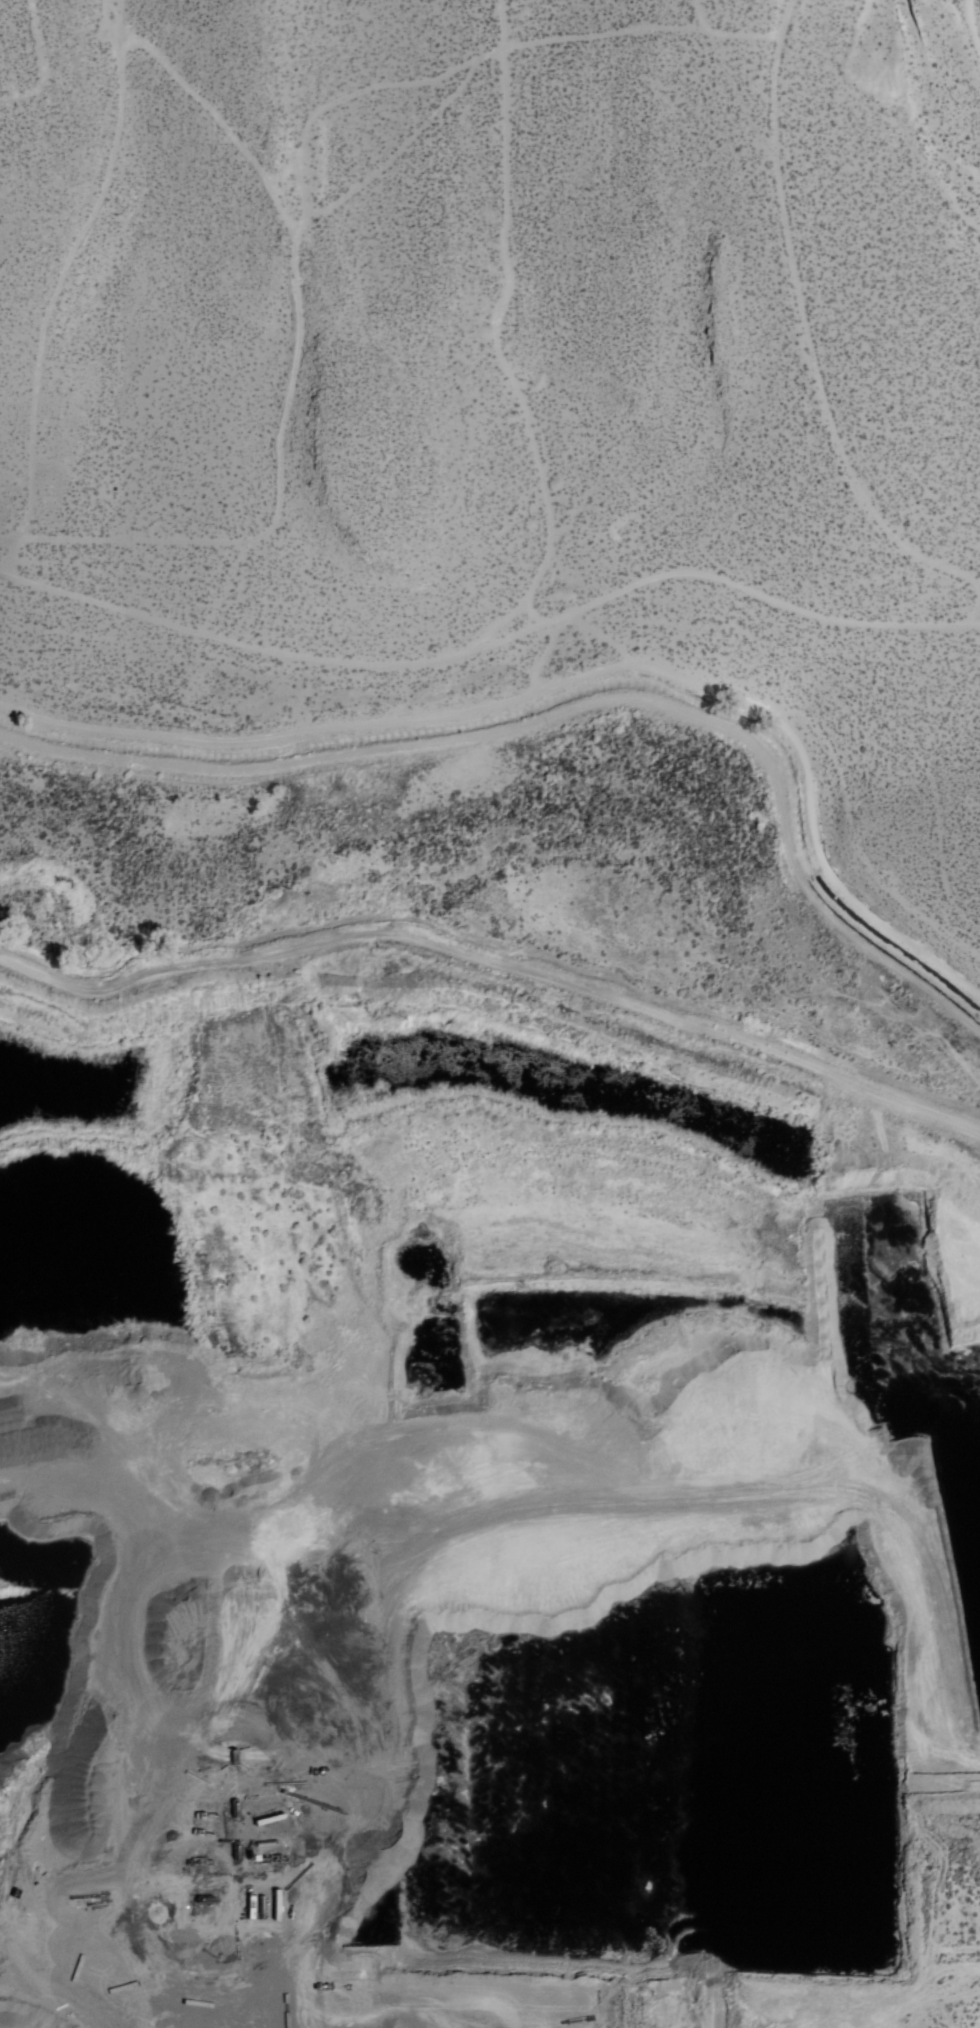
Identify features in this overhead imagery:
road: (961, 185)
road: (57, 280)
road: (822, 320)
road: (297, 384)
road: (491, 633)
road: (570, 677)
road: (569, 713)
road: (496, 960)

